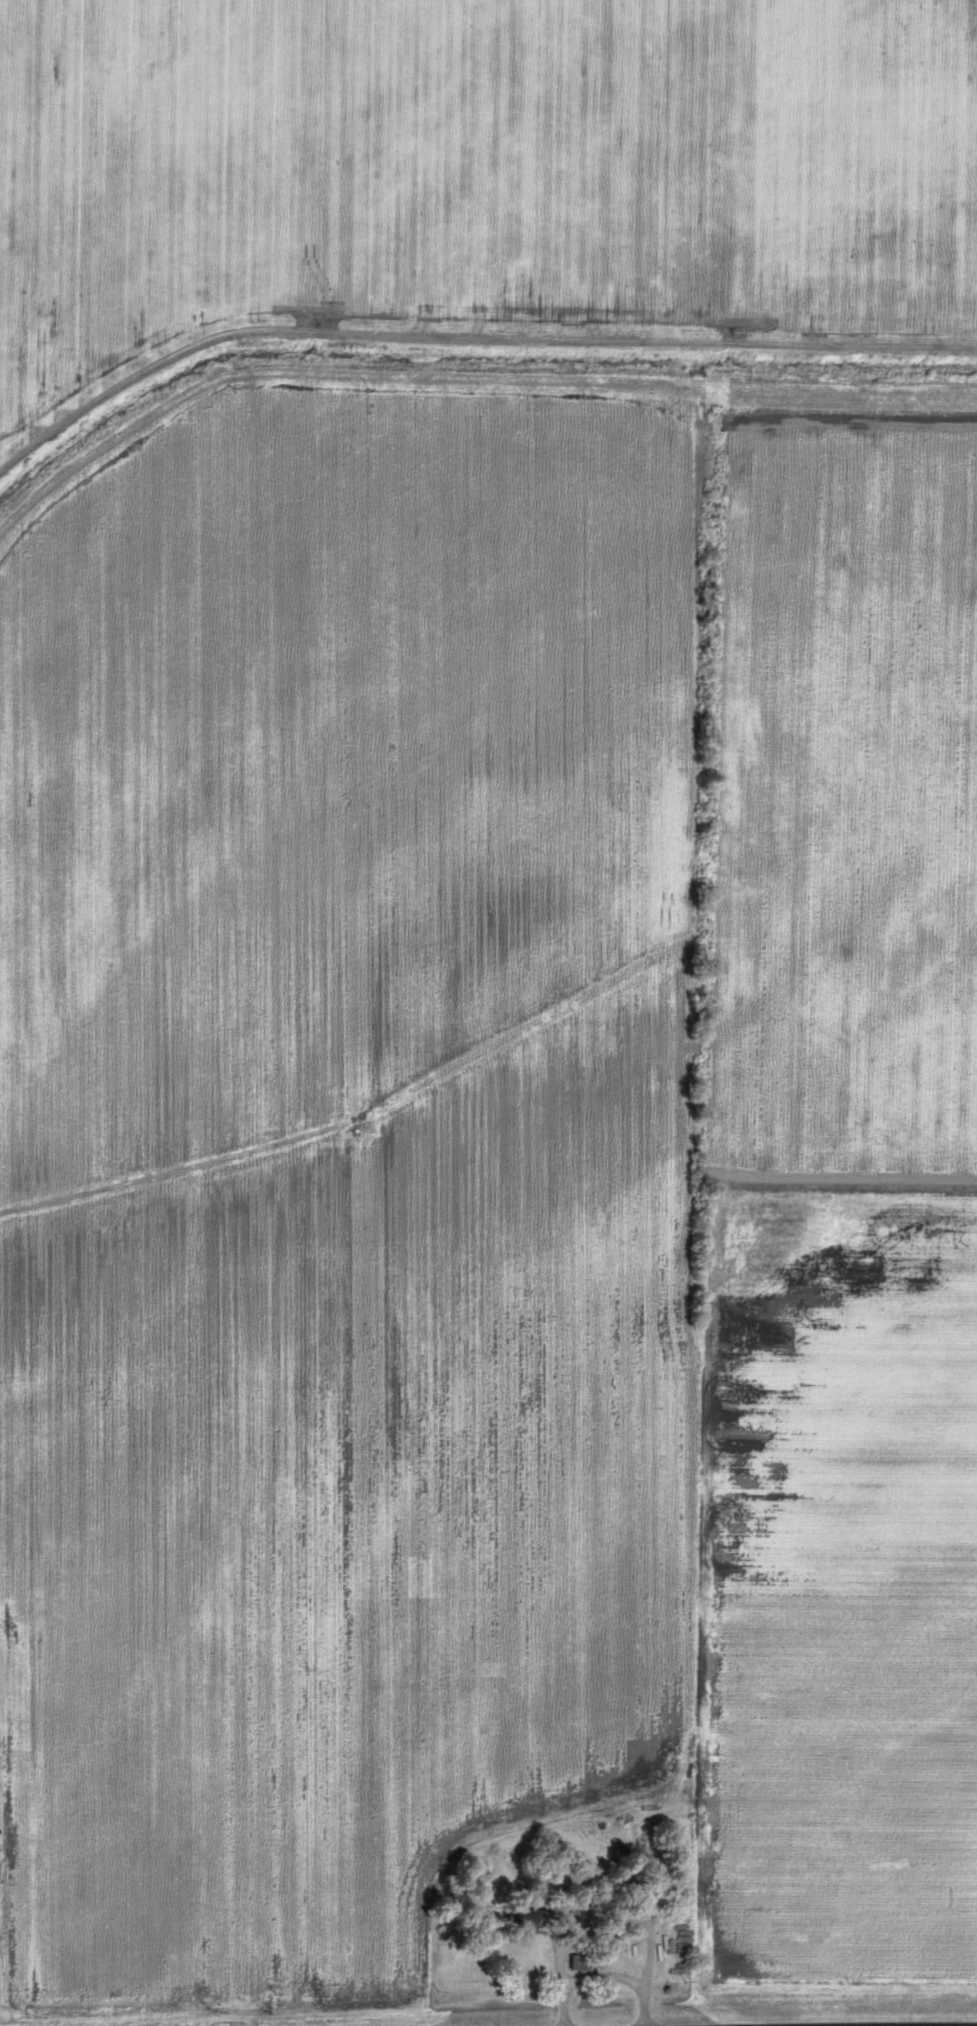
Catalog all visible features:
road: (602, 1914)

